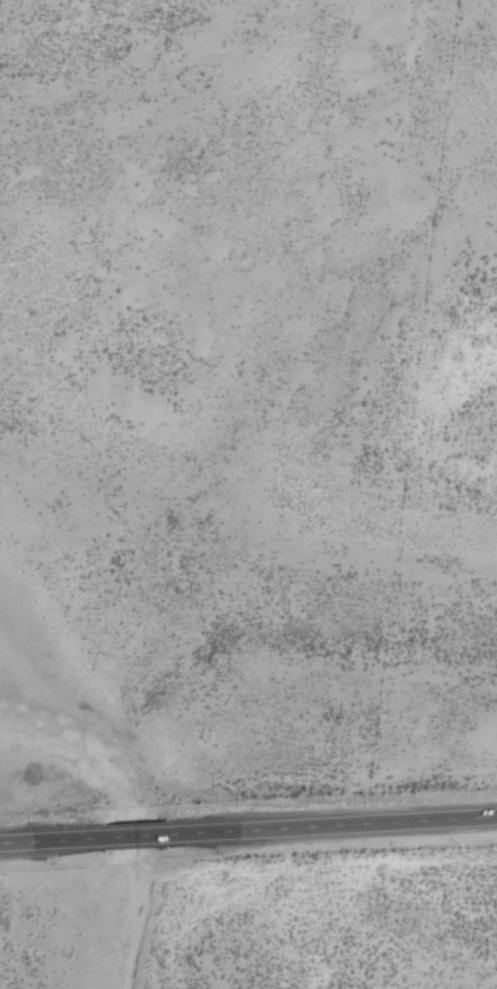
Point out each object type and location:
road: (348, 821)
road: (130, 834)
road: (30, 839)

